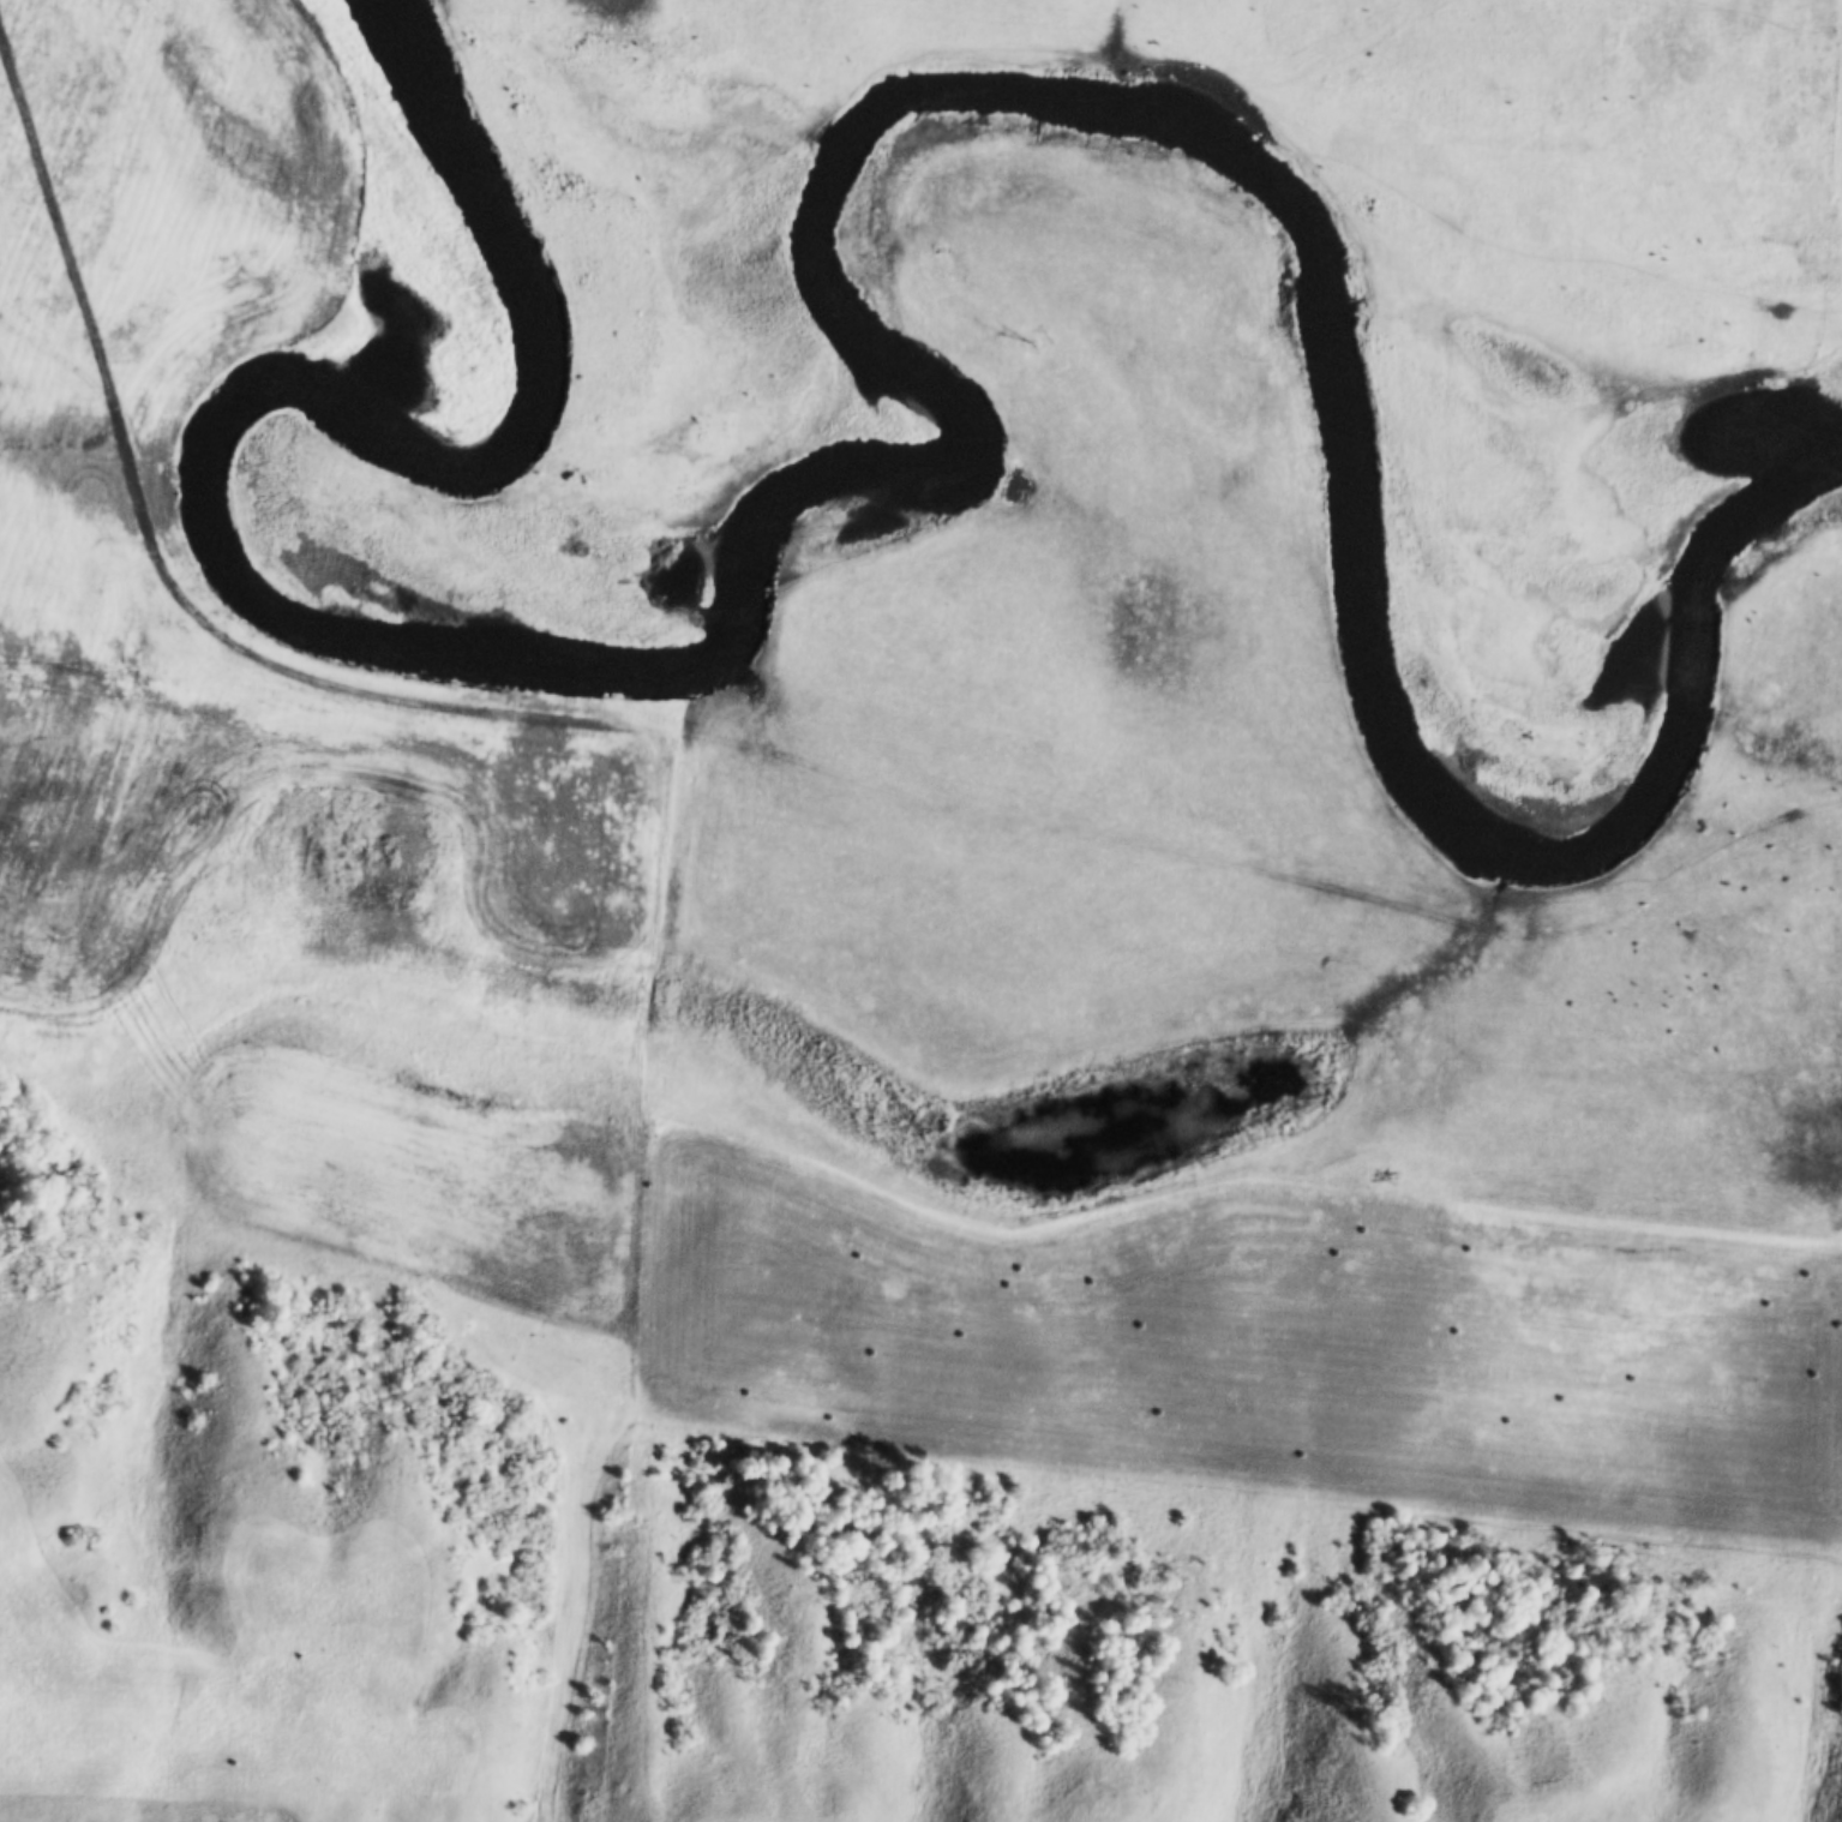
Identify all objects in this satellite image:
river: (826, 257)
road: (1829, 1702)

